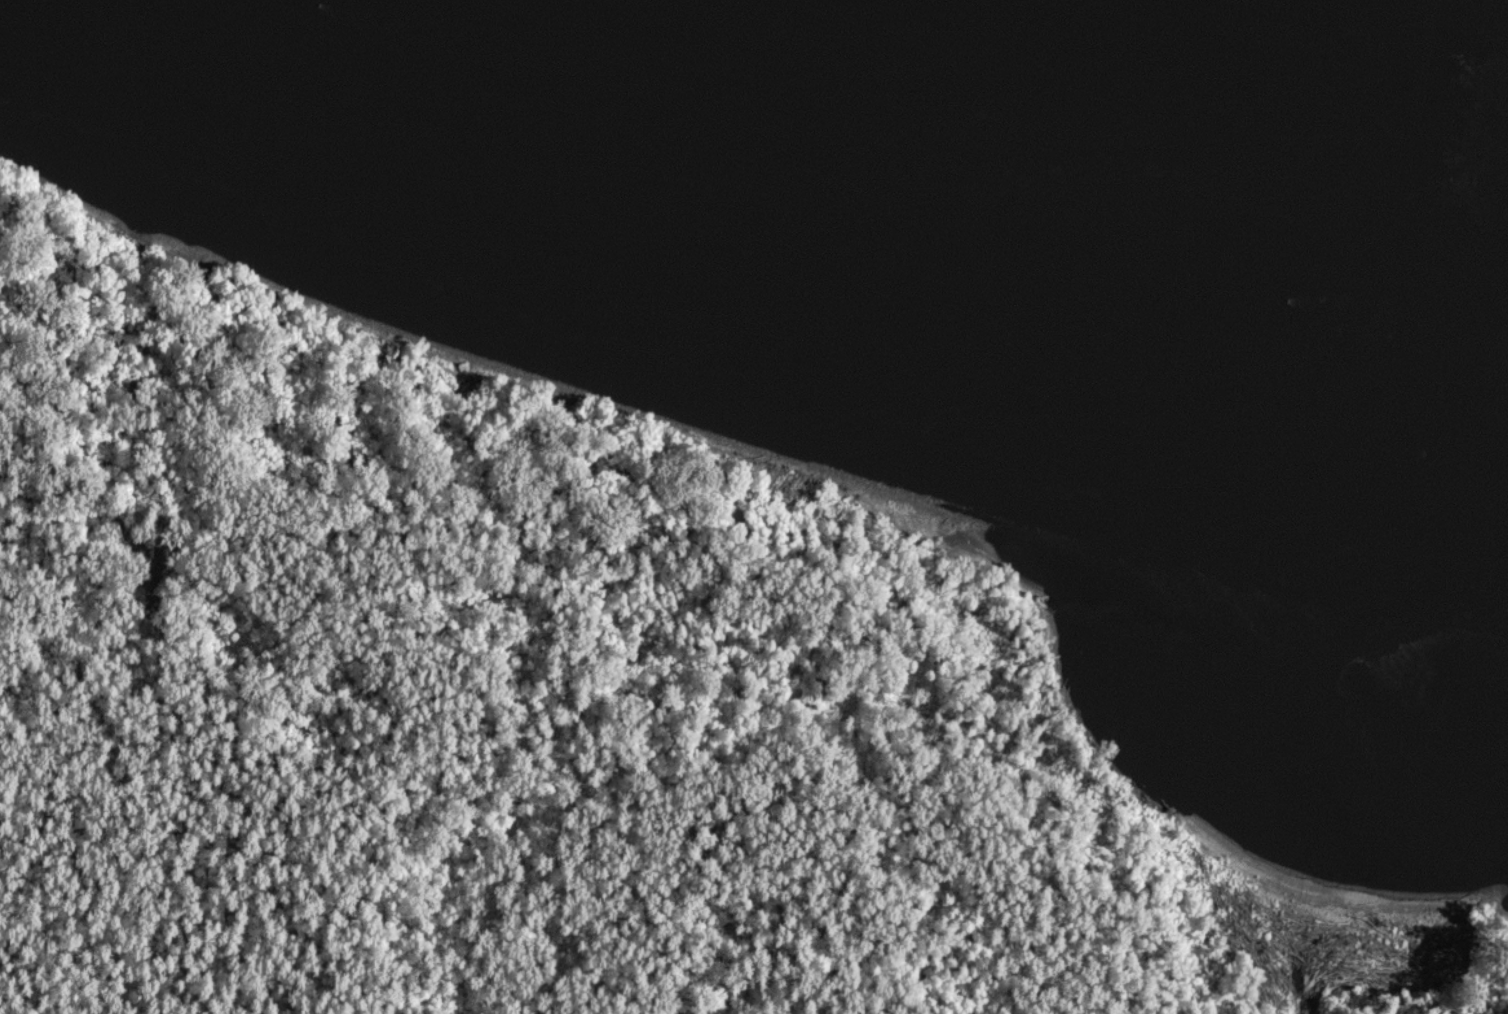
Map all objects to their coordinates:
river: (1158, 122)

